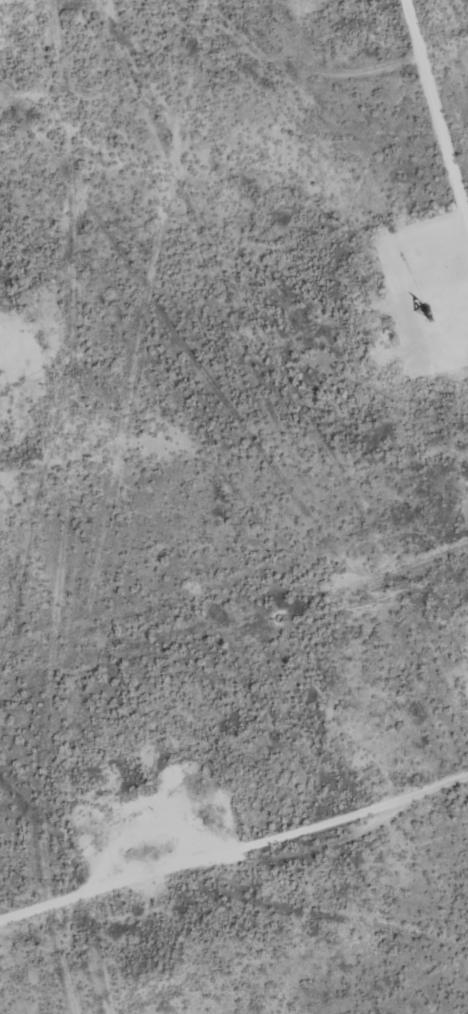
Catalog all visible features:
road: (436, 112)
road: (113, 893)

